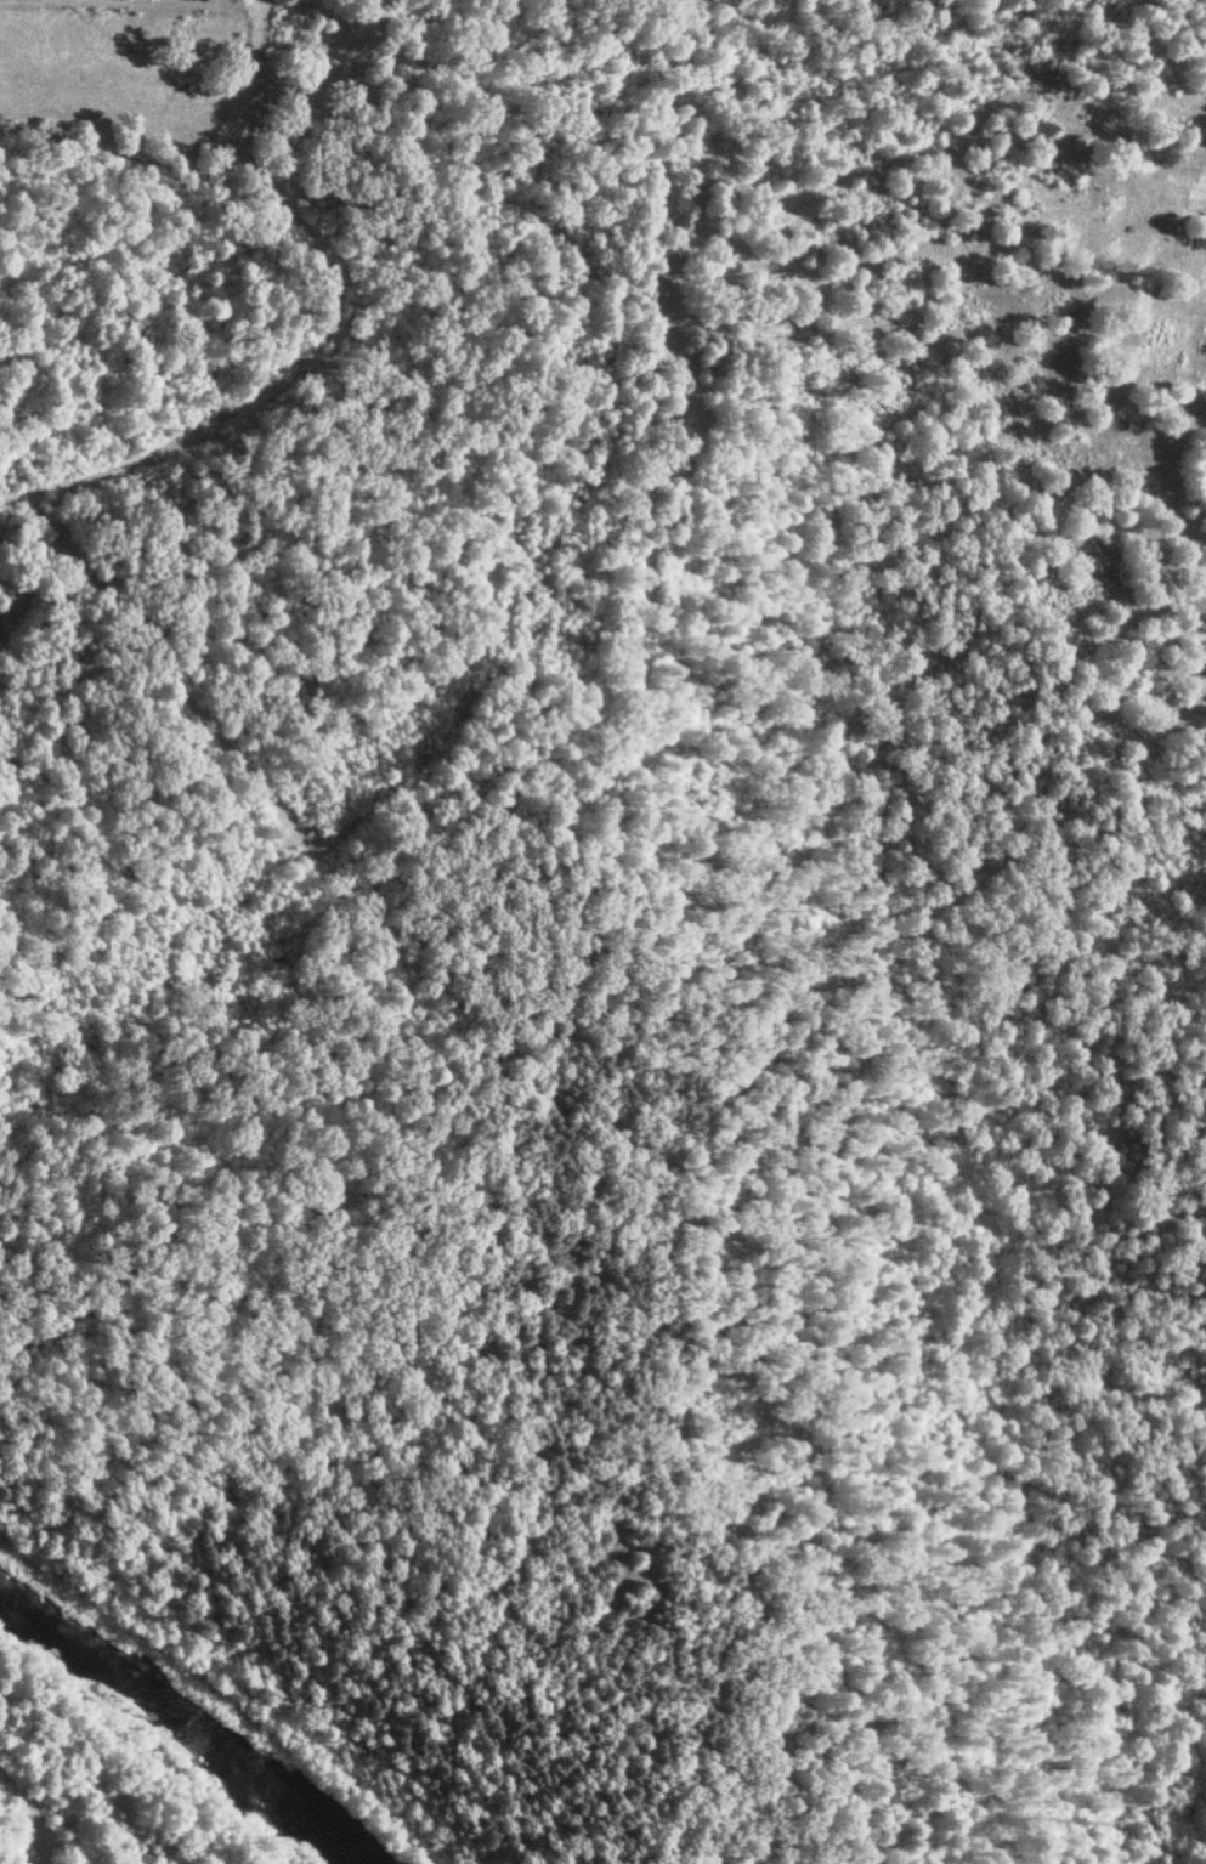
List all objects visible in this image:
river: (180, 1712)

